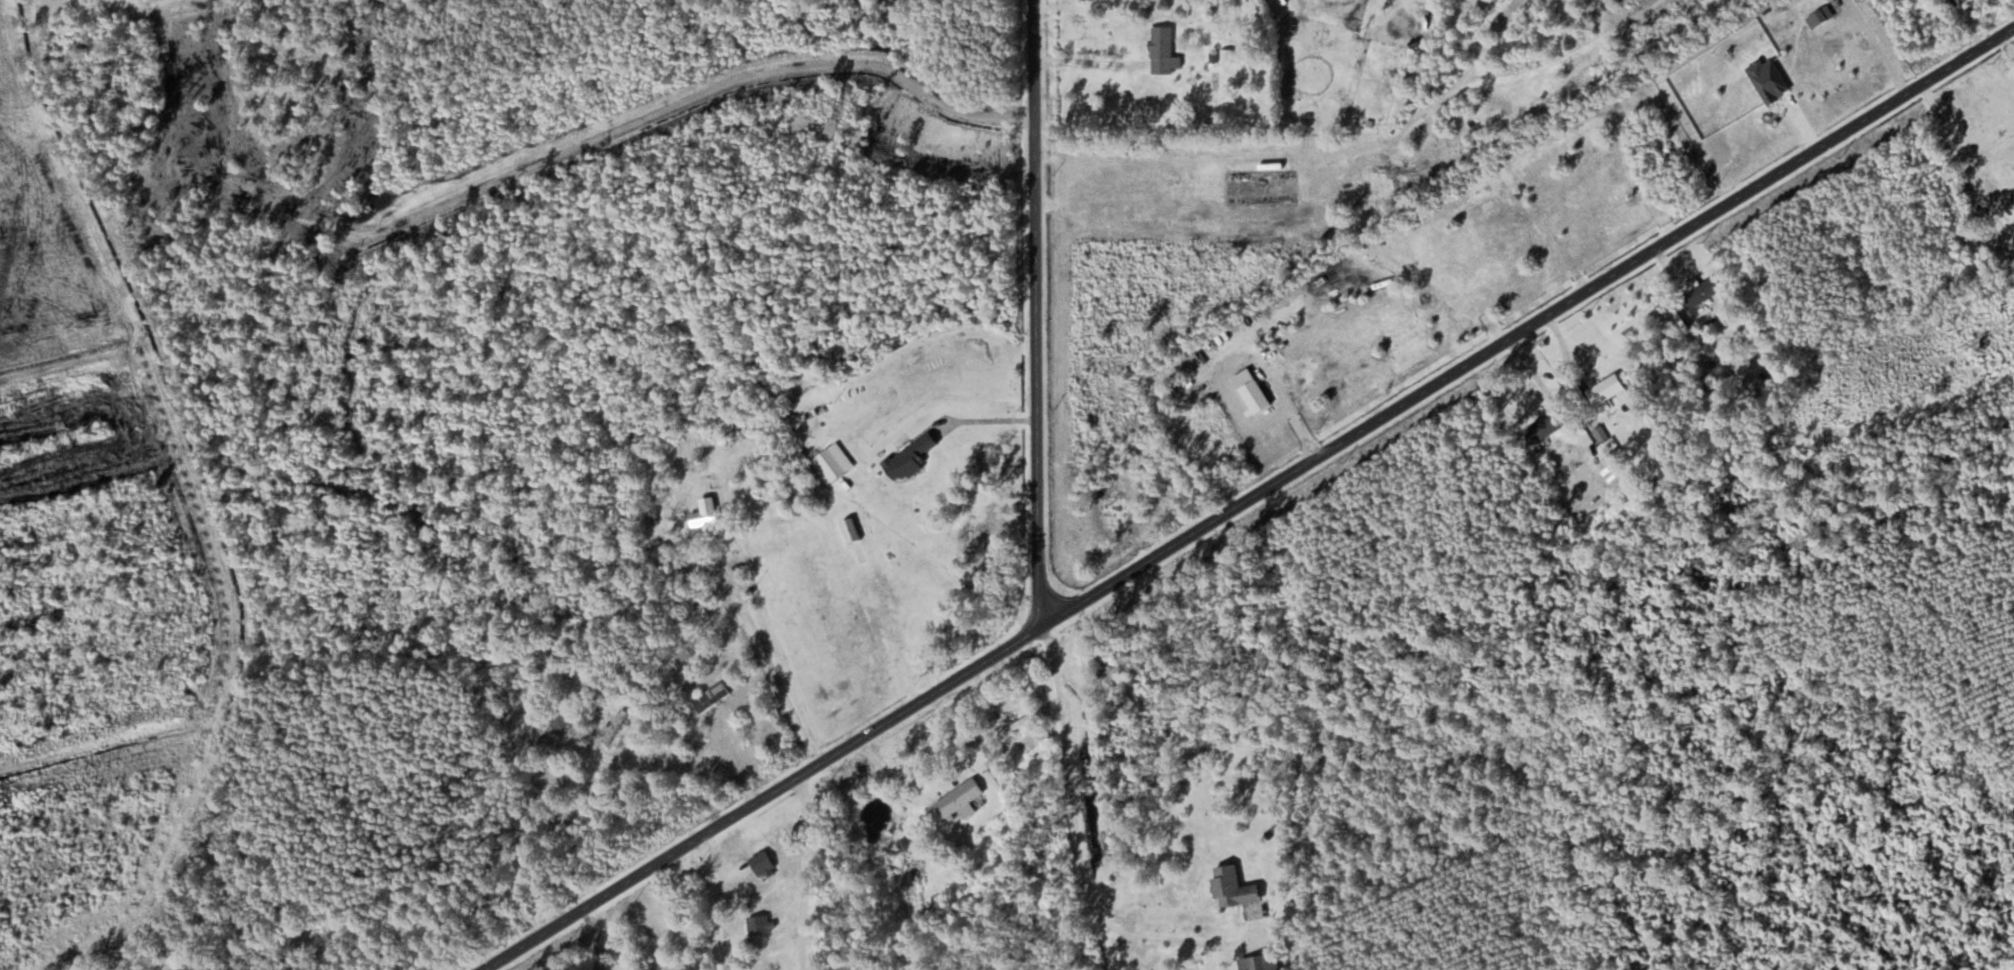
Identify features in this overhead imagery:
building: (1165, 50)
crop: (1317, 56)
crop: (1376, 80)
building: (1306, 106)
building: (2013, 193)
building: (1704, 290)
road: (1042, 308)
road: (1528, 318)
building: (1607, 388)
building: (1544, 427)
building: (910, 457)
building: (835, 461)
building: (705, 514)
building: (701, 613)
road: (768, 654)
building: (1018, 723)
building: (565, 725)
building: (614, 725)
road: (759, 795)
building: (959, 801)
road: (1080, 862)
building: (763, 864)
road: (806, 870)
building: (1234, 887)
building: (761, 924)
road: (597, 935)
building: (1261, 962)

